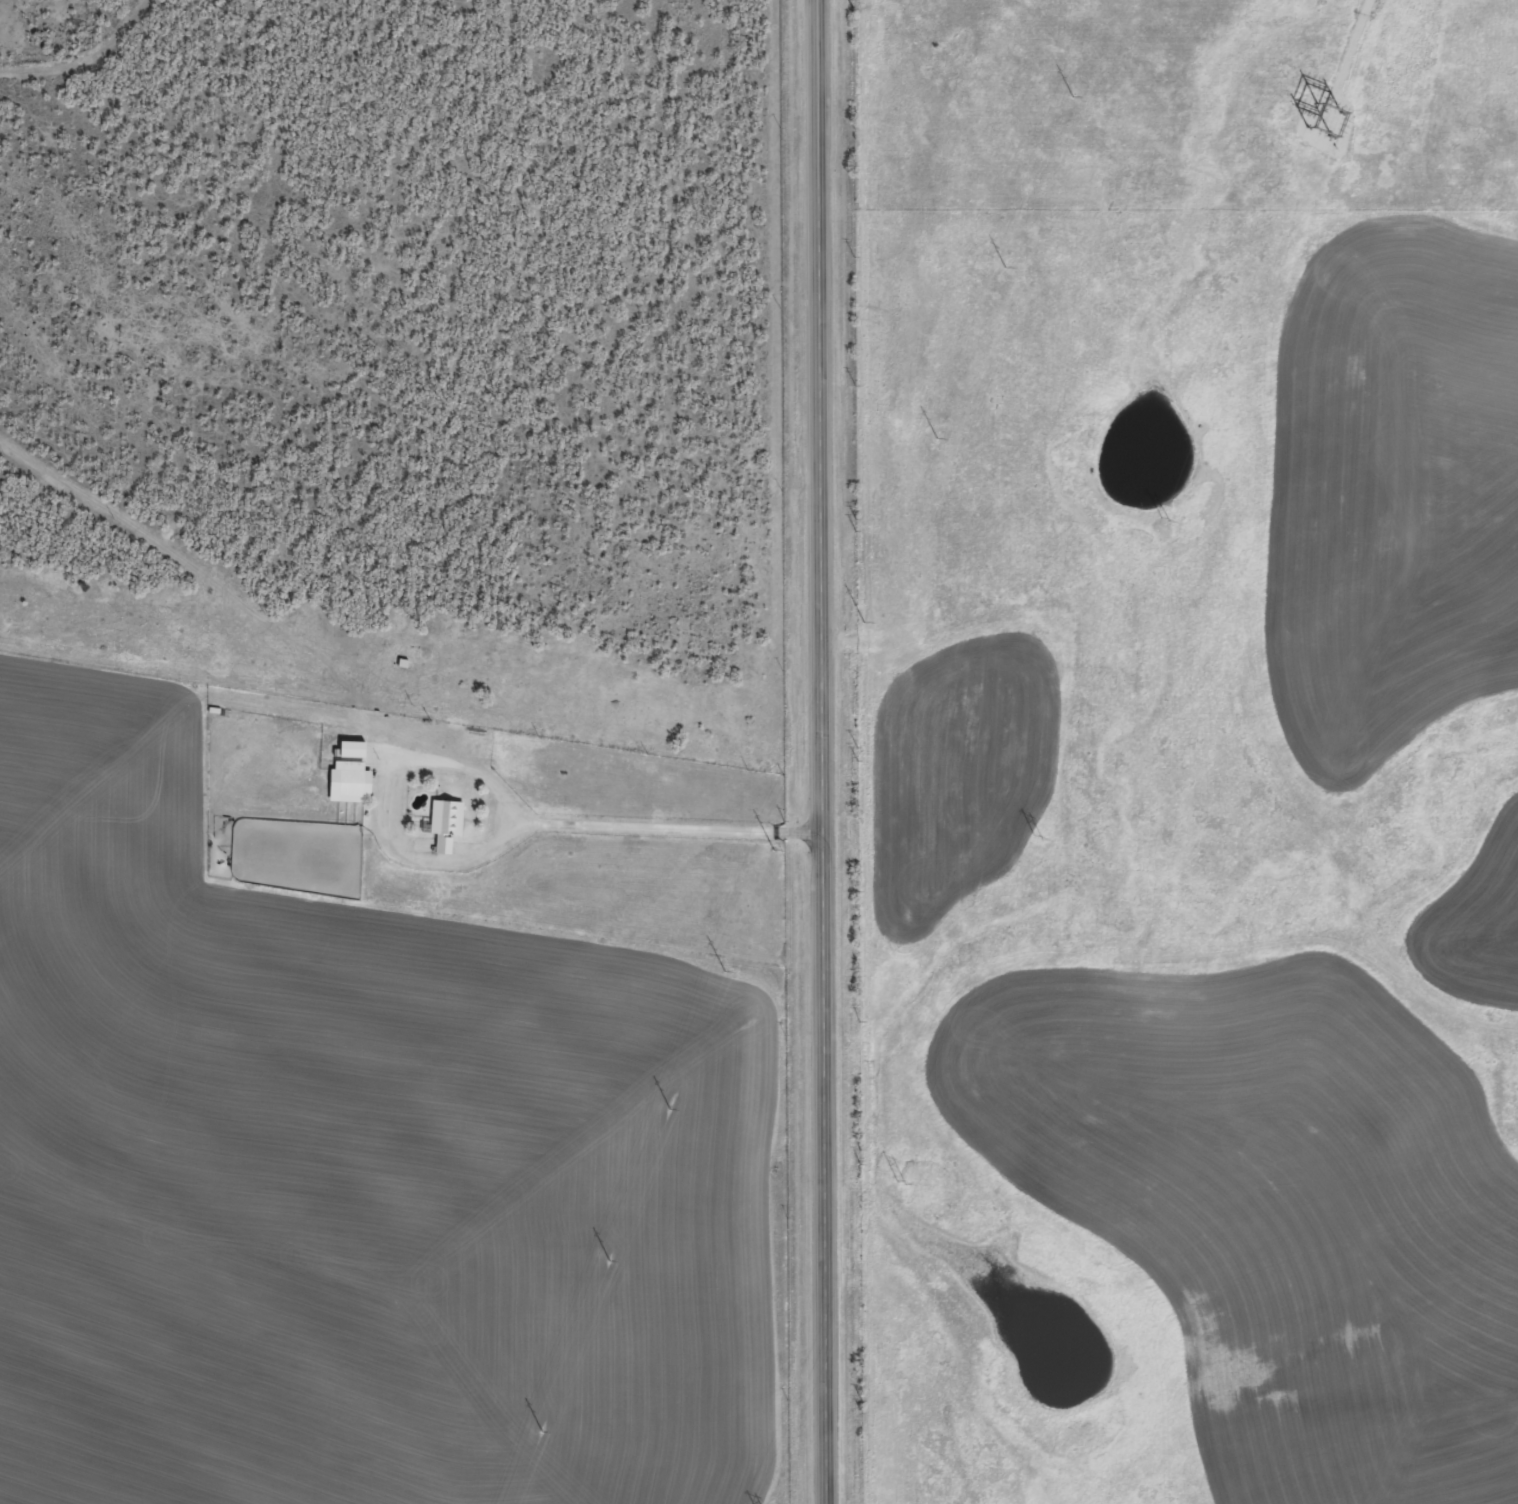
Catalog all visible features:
power substation: (1323, 121)
power tower: (1163, 519)
road: (820, 751)
building: (355, 758)
building: (351, 790)
building: (446, 832)
power tower: (1036, 838)
road: (492, 843)
power tower: (899, 1183)

